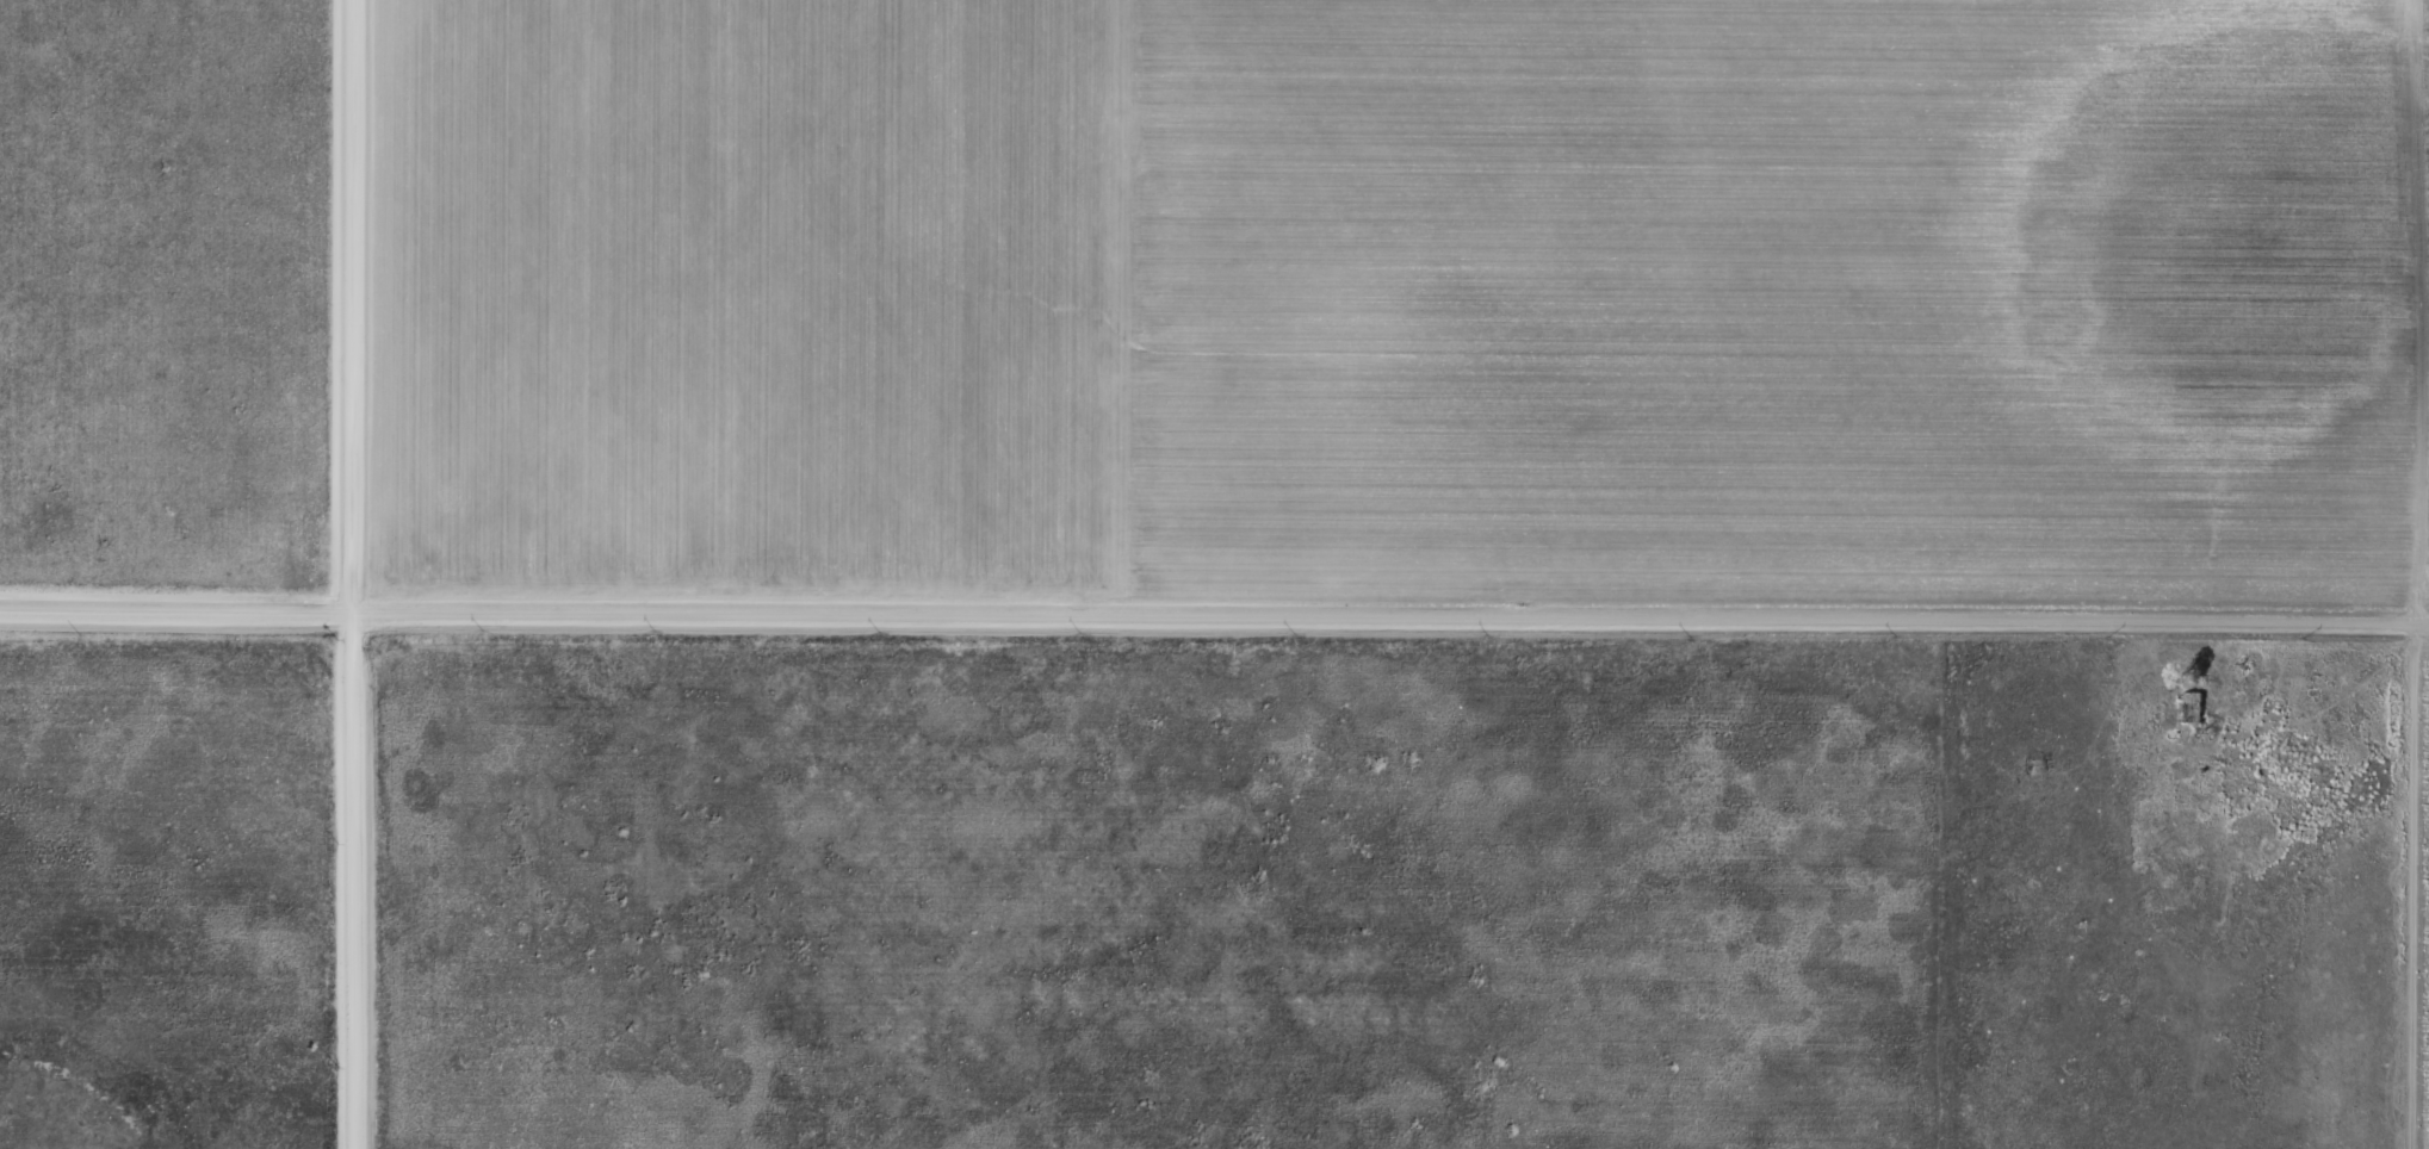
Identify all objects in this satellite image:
road: (391, 574)
road: (1214, 617)

